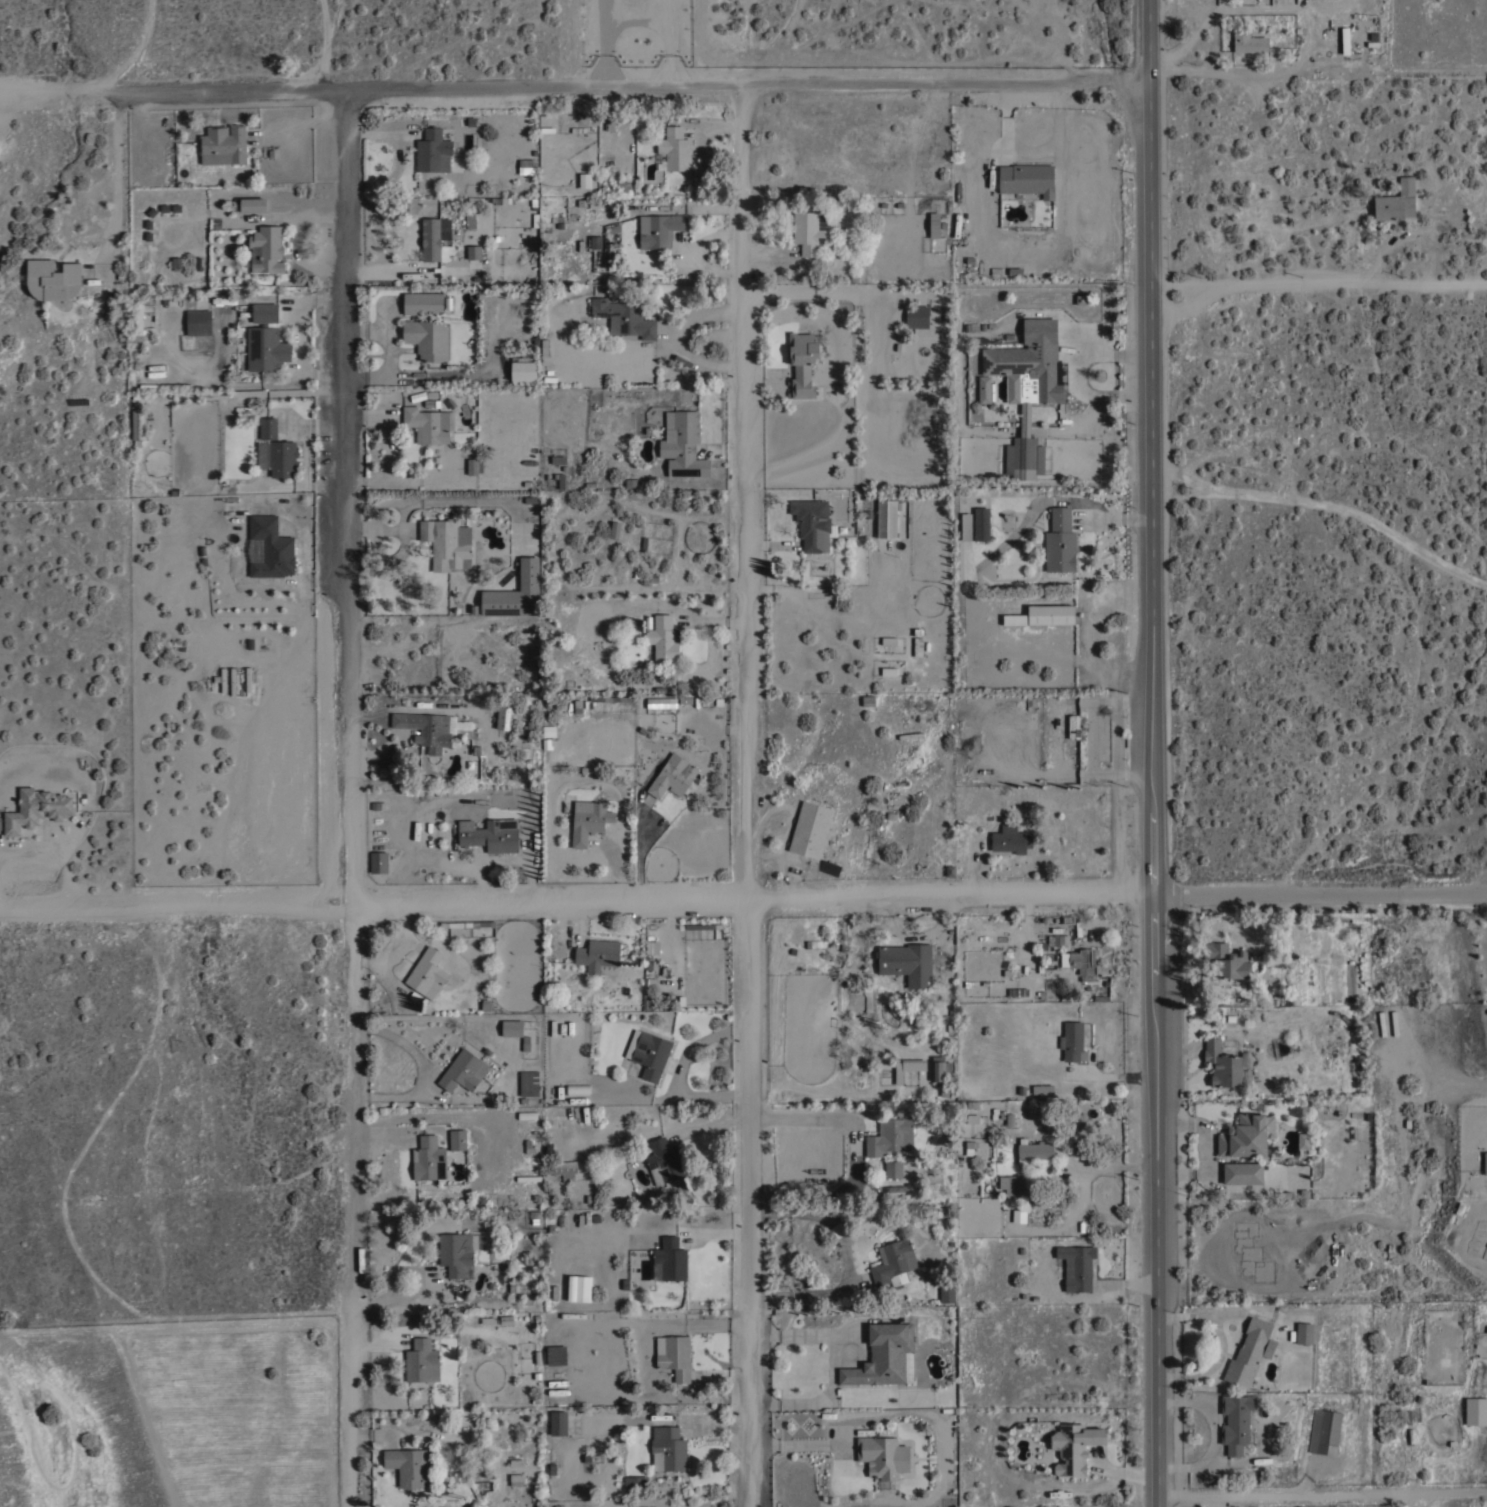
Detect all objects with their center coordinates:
road: (1219, 10)
building: (1249, 42)
road: (1263, 72)
road: (621, 84)
road: (43, 90)
building: (469, 124)
building: (223, 145)
building: (674, 149)
building: (433, 151)
building: (1027, 179)
building: (623, 186)
building: (1396, 201)
building: (253, 204)
building: (934, 224)
building: (659, 229)
building: (146, 230)
building: (809, 231)
building: (431, 239)
building: (267, 249)
building: (474, 252)
building: (53, 279)
road: (1321, 284)
building: (422, 303)
building: (265, 312)
building: (139, 315)
building: (917, 316)
building: (624, 317)
building: (199, 323)
road: (678, 337)
building: (427, 339)
building: (266, 348)
building: (805, 361)
building: (524, 371)
building: (1027, 388)
building: (982, 392)
building: (138, 415)
building: (429, 424)
building: (268, 428)
building: (683, 444)
building: (263, 454)
building: (283, 458)
building: (558, 459)
building: (474, 466)
building: (560, 479)
building: (887, 517)
building: (813, 524)
building: (981, 524)
building: (615, 529)
building: (1060, 541)
building: (447, 543)
building: (271, 547)
building: (515, 593)
building: (1051, 614)
building: (664, 638)
building: (918, 646)
building: (611, 698)
building: (868, 700)
building: (661, 702)
building: (503, 717)
building: (1073, 726)
building: (529, 727)
building: (432, 730)
building: (549, 731)
road: (1159, 753)
building: (471, 765)
building: (672, 776)
road: (745, 795)
road: (354, 797)
building: (378, 805)
building: (36, 808)
building: (588, 820)
building: (810, 829)
building: (490, 834)
building: (1009, 839)
building: (379, 862)
road: (1324, 887)
road: (580, 898)
building: (472, 924)
building: (1302, 935)
building: (649, 939)
building: (1058, 941)
building: (599, 956)
building: (1080, 960)
building: (907, 962)
building: (1230, 963)
building: (427, 973)
building: (1018, 991)
building: (650, 1004)
building: (1394, 1022)
building: (1382, 1023)
building: (515, 1031)
building: (1072, 1041)
building: (650, 1054)
building: (1222, 1064)
building: (908, 1067)
building: (939, 1067)
building: (463, 1070)
building: (528, 1083)
building: (1042, 1088)
building: (578, 1089)
road: (802, 1109)
building: (527, 1115)
building: (974, 1118)
building: (890, 1136)
building: (1246, 1136)
building: (458, 1139)
building: (1303, 1140)
building: (1034, 1152)
building: (429, 1158)
building: (665, 1161)
building: (1485, 1163)
road: (1109, 1166)
building: (564, 1167)
building: (893, 1168)
building: (1243, 1172)
building: (934, 1177)
building: (528, 1178)
building: (1011, 1184)
building: (456, 1252)
building: (670, 1260)
building: (894, 1262)
building: (1077, 1266)
building: (947, 1291)
building: (1305, 1332)
building: (1249, 1353)
building: (557, 1355)
building: (884, 1356)
building: (676, 1357)
building: (422, 1361)
road: (831, 1364)
building: (1476, 1410)
building: (1236, 1421)
building: (558, 1424)
building: (1324, 1431)
building: (1073, 1446)
building: (668, 1449)
building: (883, 1456)
building: (407, 1466)
building: (516, 1479)
building: (632, 1482)
road: (1320, 1495)

